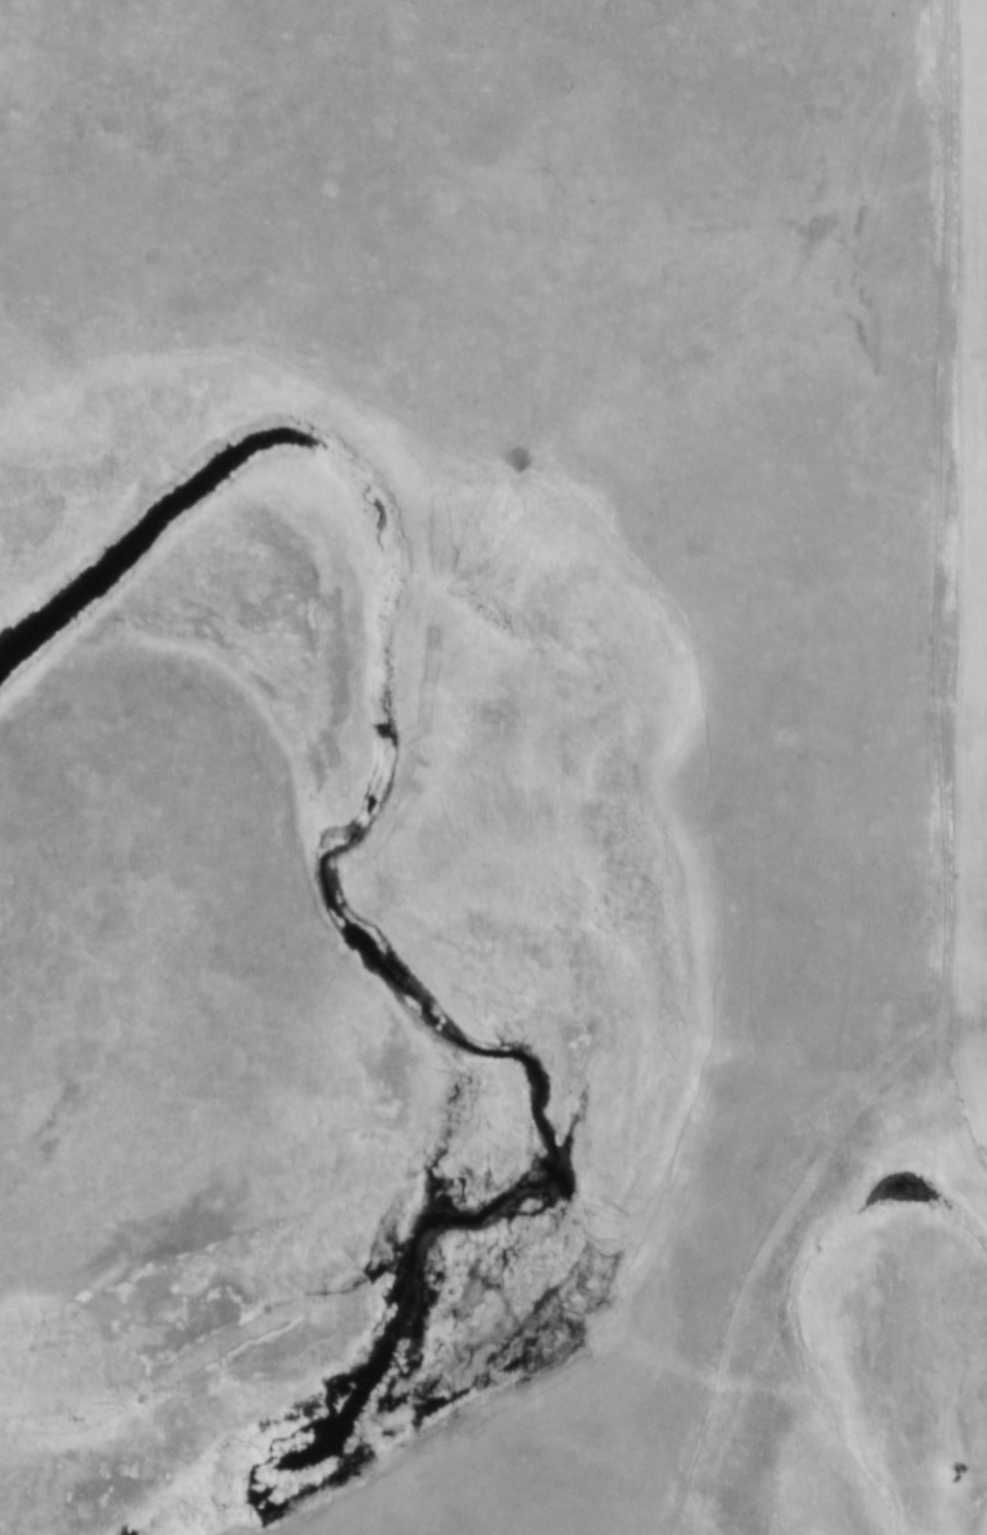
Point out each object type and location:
road: (945, 806)

